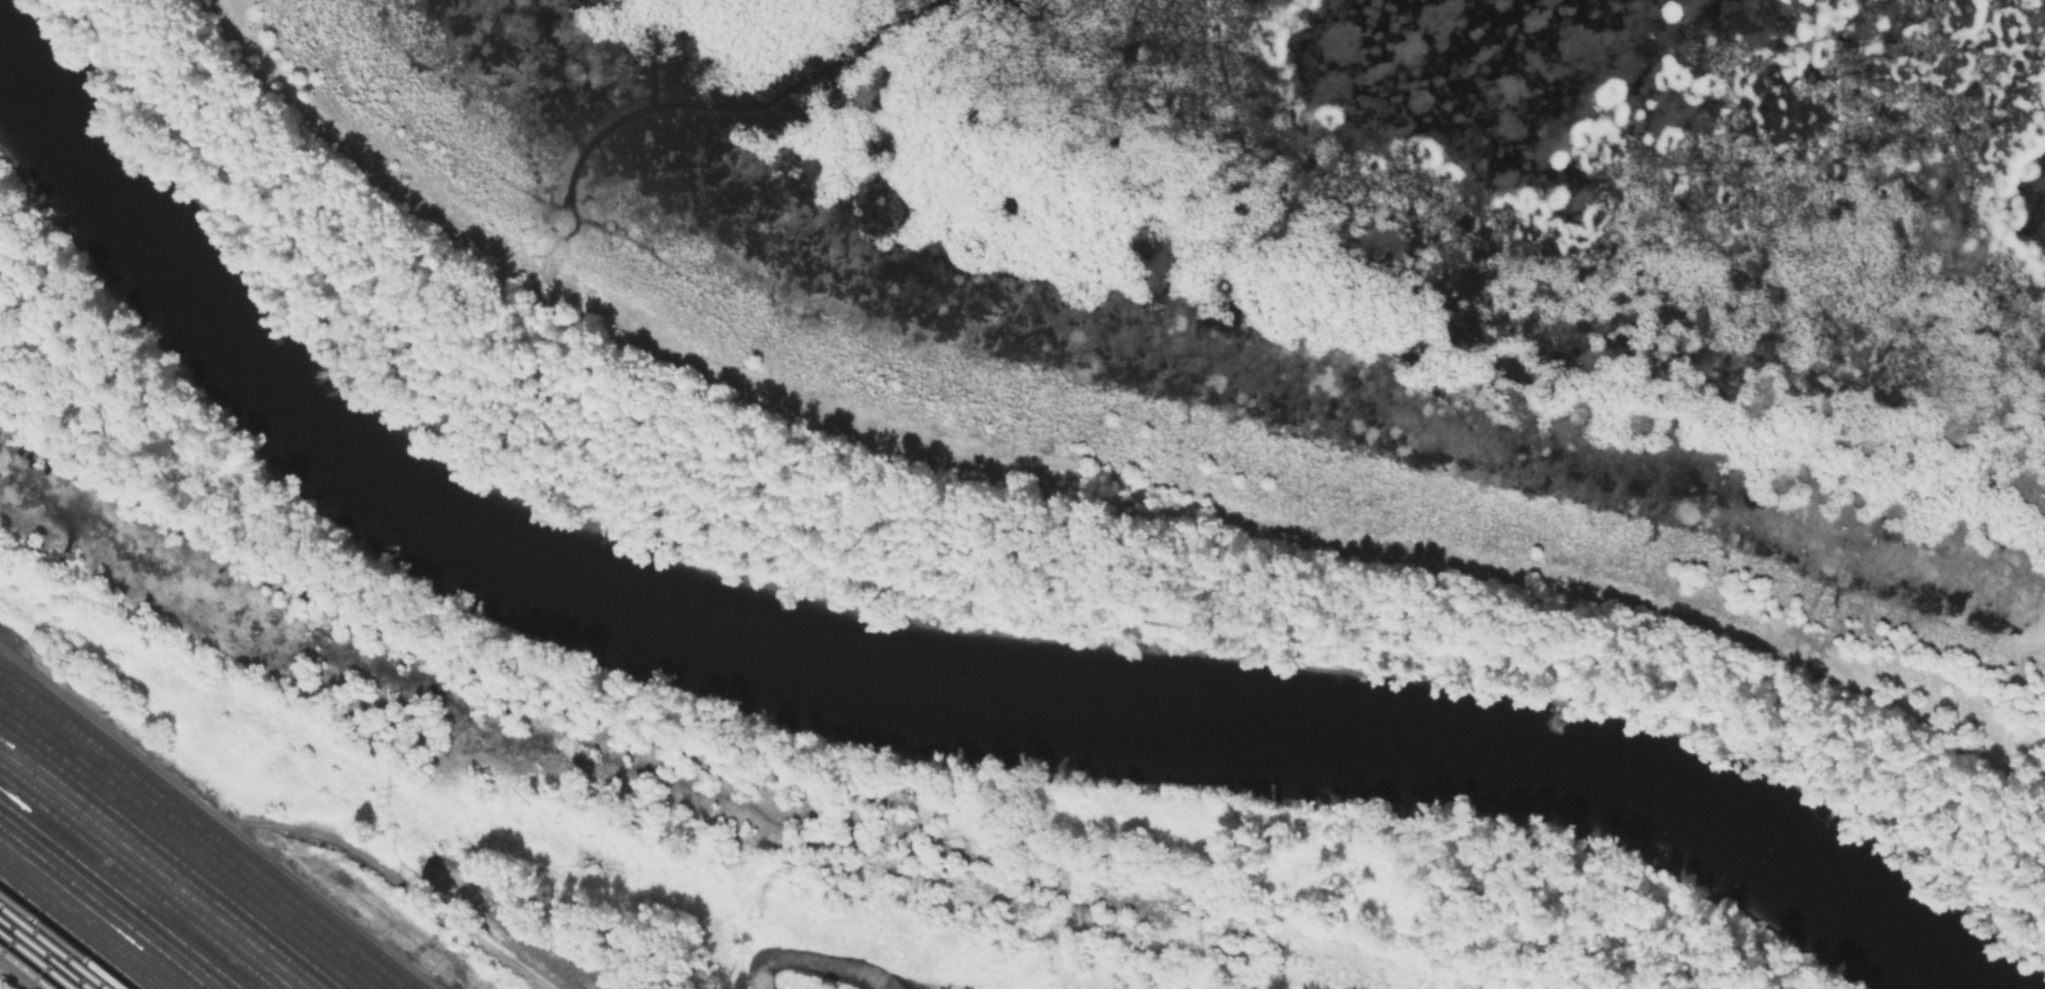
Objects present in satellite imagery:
railway: (213, 823)
railway: (206, 829)
railway: (197, 835)
railway: (188, 842)
railway: (180, 849)
railway: (172, 855)
railway: (164, 861)
railway: (155, 867)
railway: (147, 874)
railway: (139, 880)
railway: (130, 887)
railway: (121, 894)
railway: (113, 900)
railway: (104, 907)
railway: (96, 913)
railway: (88, 919)
railway: (80, 926)
railway: (72, 933)
railway: (64, 939)
railway: (55, 945)
railway: (46, 952)
railway: (39, 958)
railway: (27, 967)

